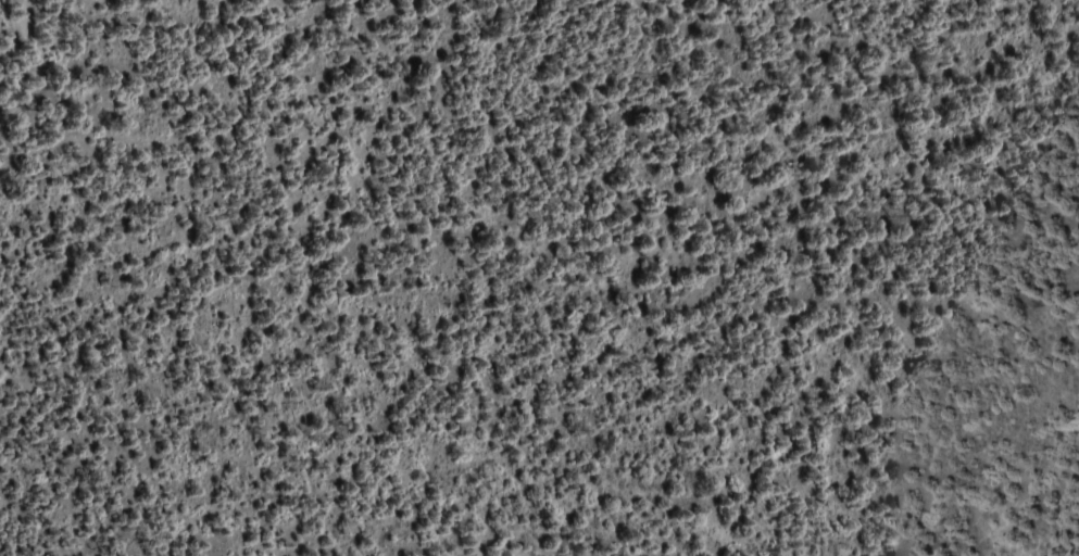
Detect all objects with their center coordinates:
road: (36, 61)
road: (281, 90)

